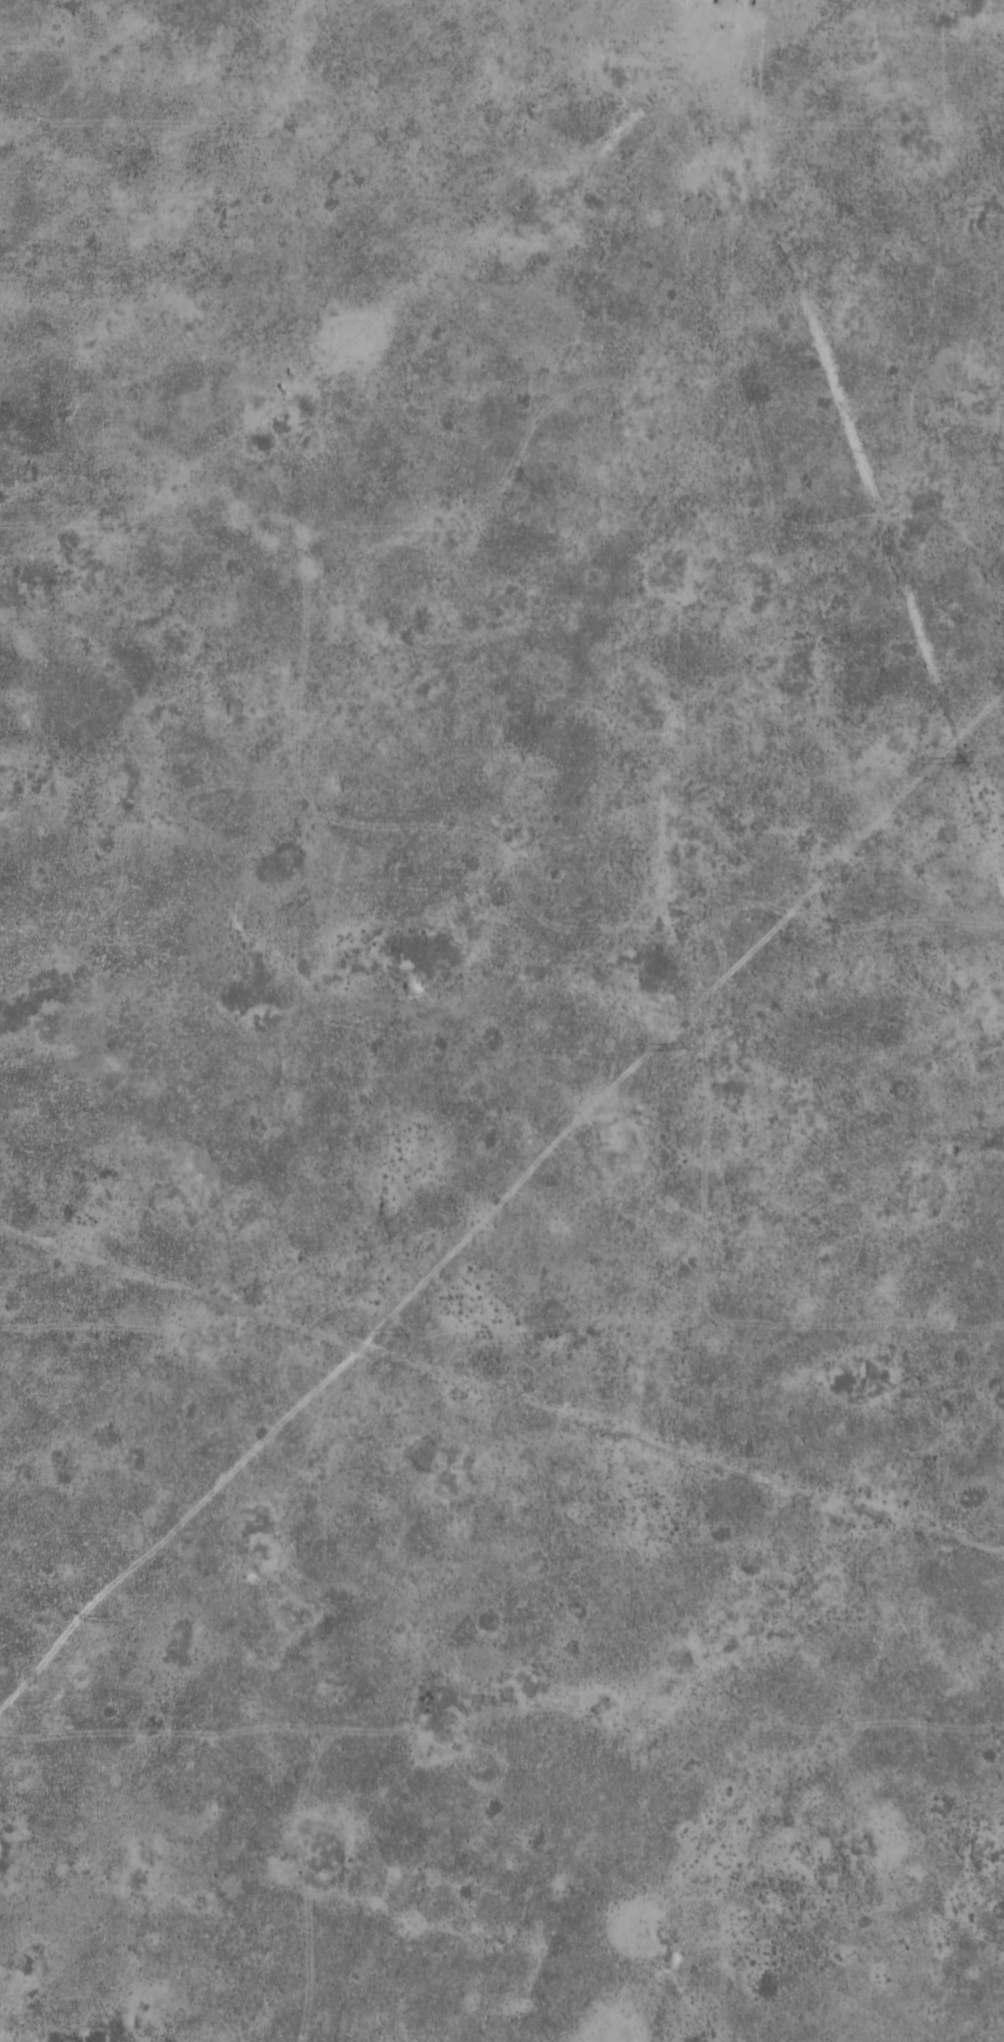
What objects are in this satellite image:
road: (916, 485)

